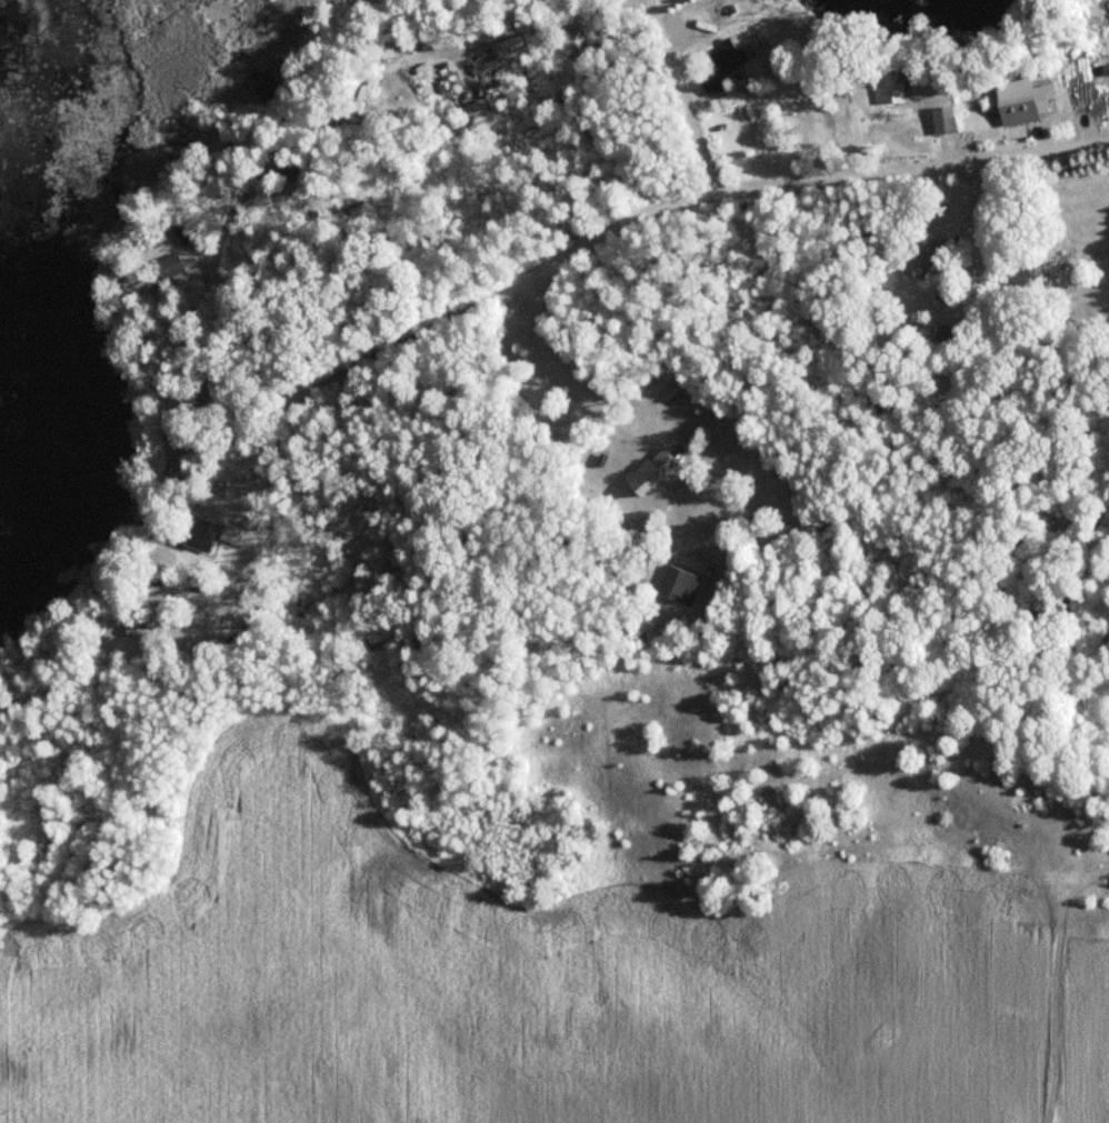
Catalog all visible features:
building: (1092, 14)
building: (720, 66)
road: (676, 78)
building: (354, 97)
building: (1015, 108)
building: (473, 113)
road: (566, 143)
road: (898, 174)
road: (586, 203)
building: (929, 257)
building: (171, 268)
building: (126, 288)
road: (254, 321)
road: (539, 358)
building: (648, 472)
building: (196, 532)
building: (671, 584)

